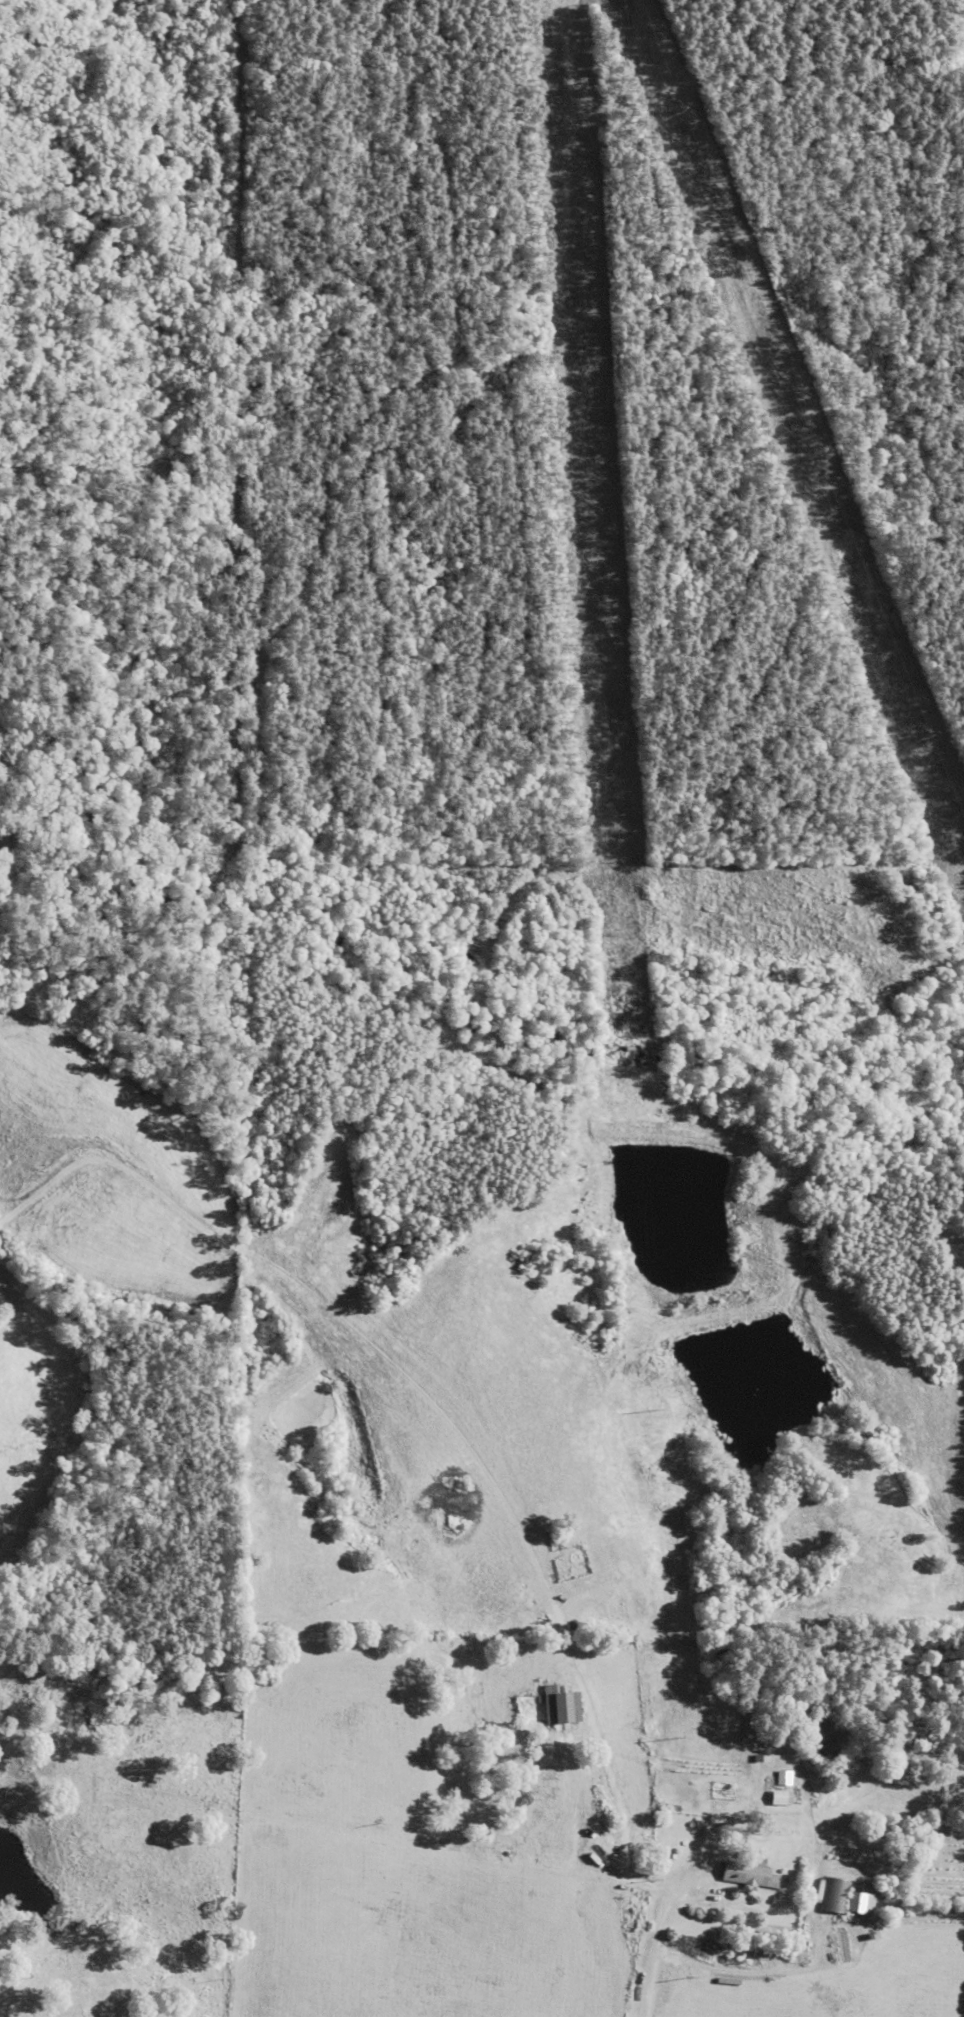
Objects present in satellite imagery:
building: (780, 1798)
building: (749, 1874)
building: (832, 1895)
building: (858, 1903)
road: (655, 1936)

